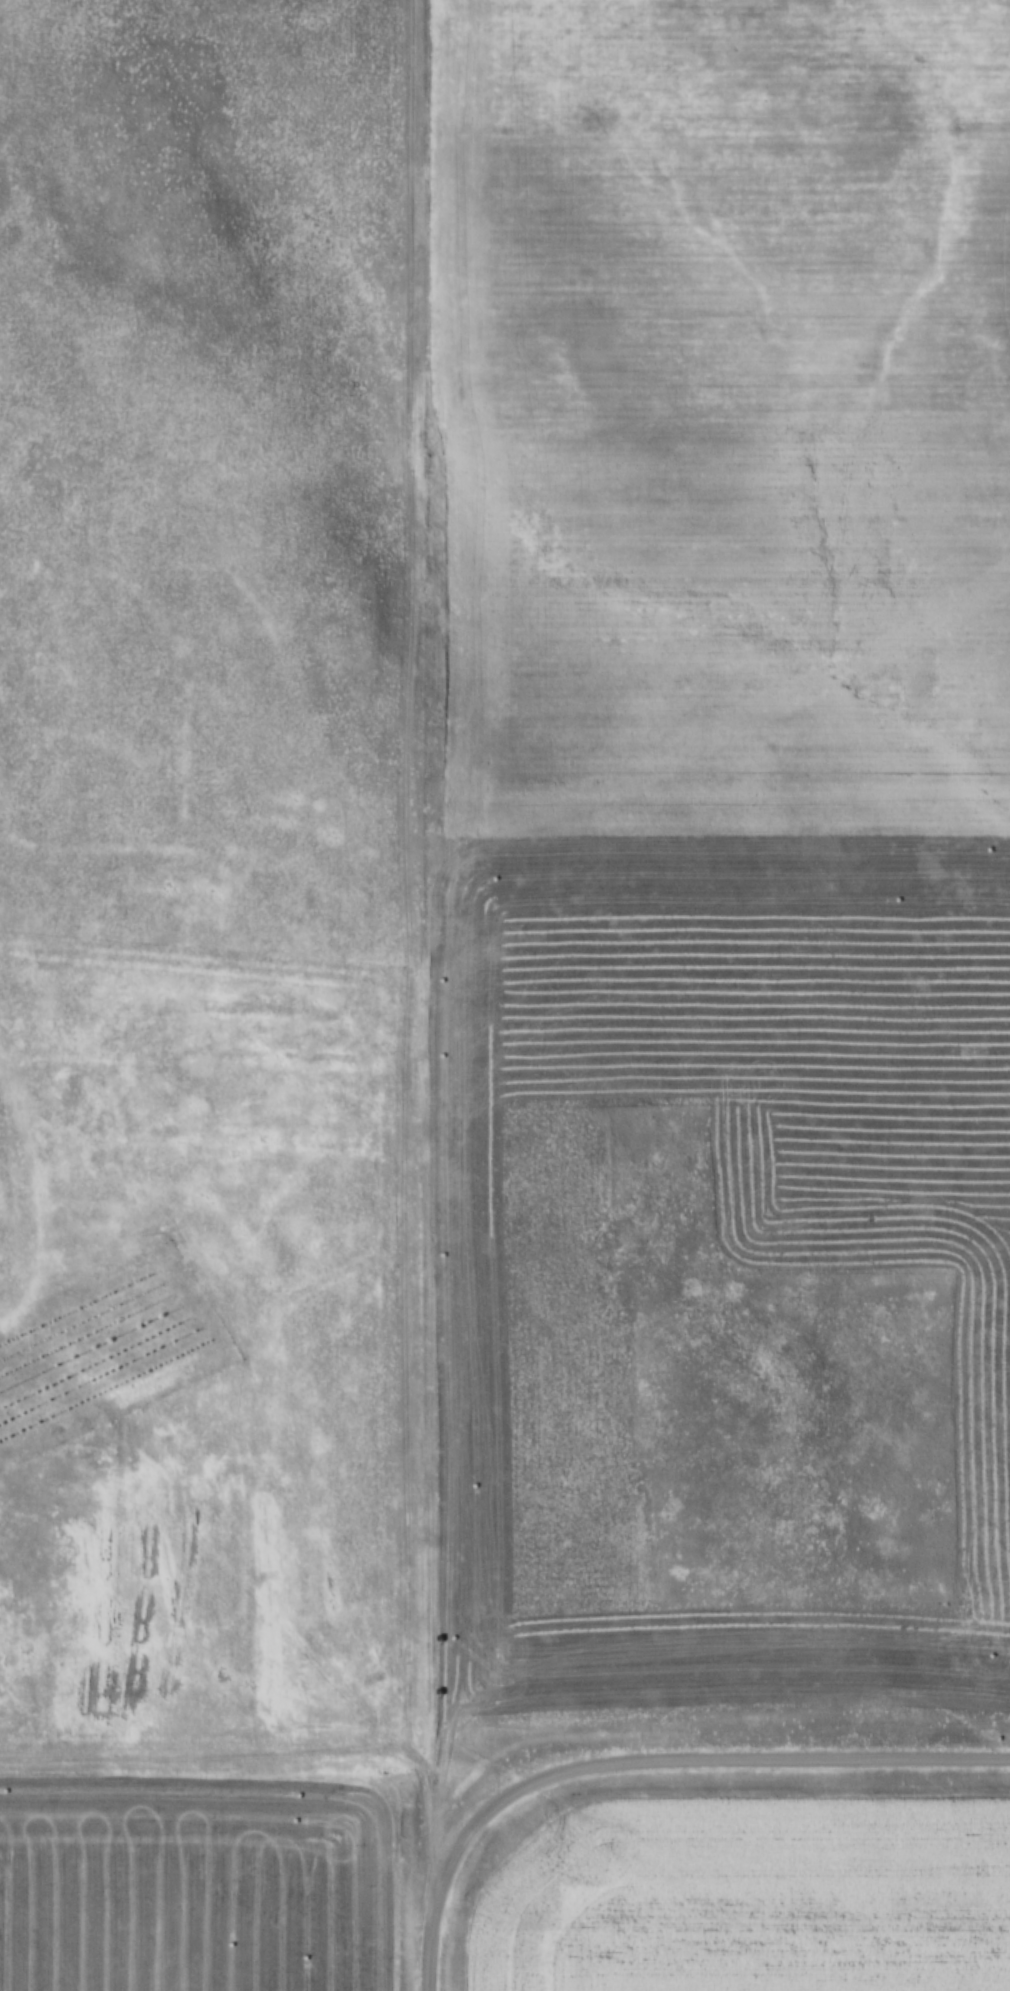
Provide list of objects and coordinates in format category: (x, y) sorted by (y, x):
road: (329, 1763)
road: (646, 1763)

